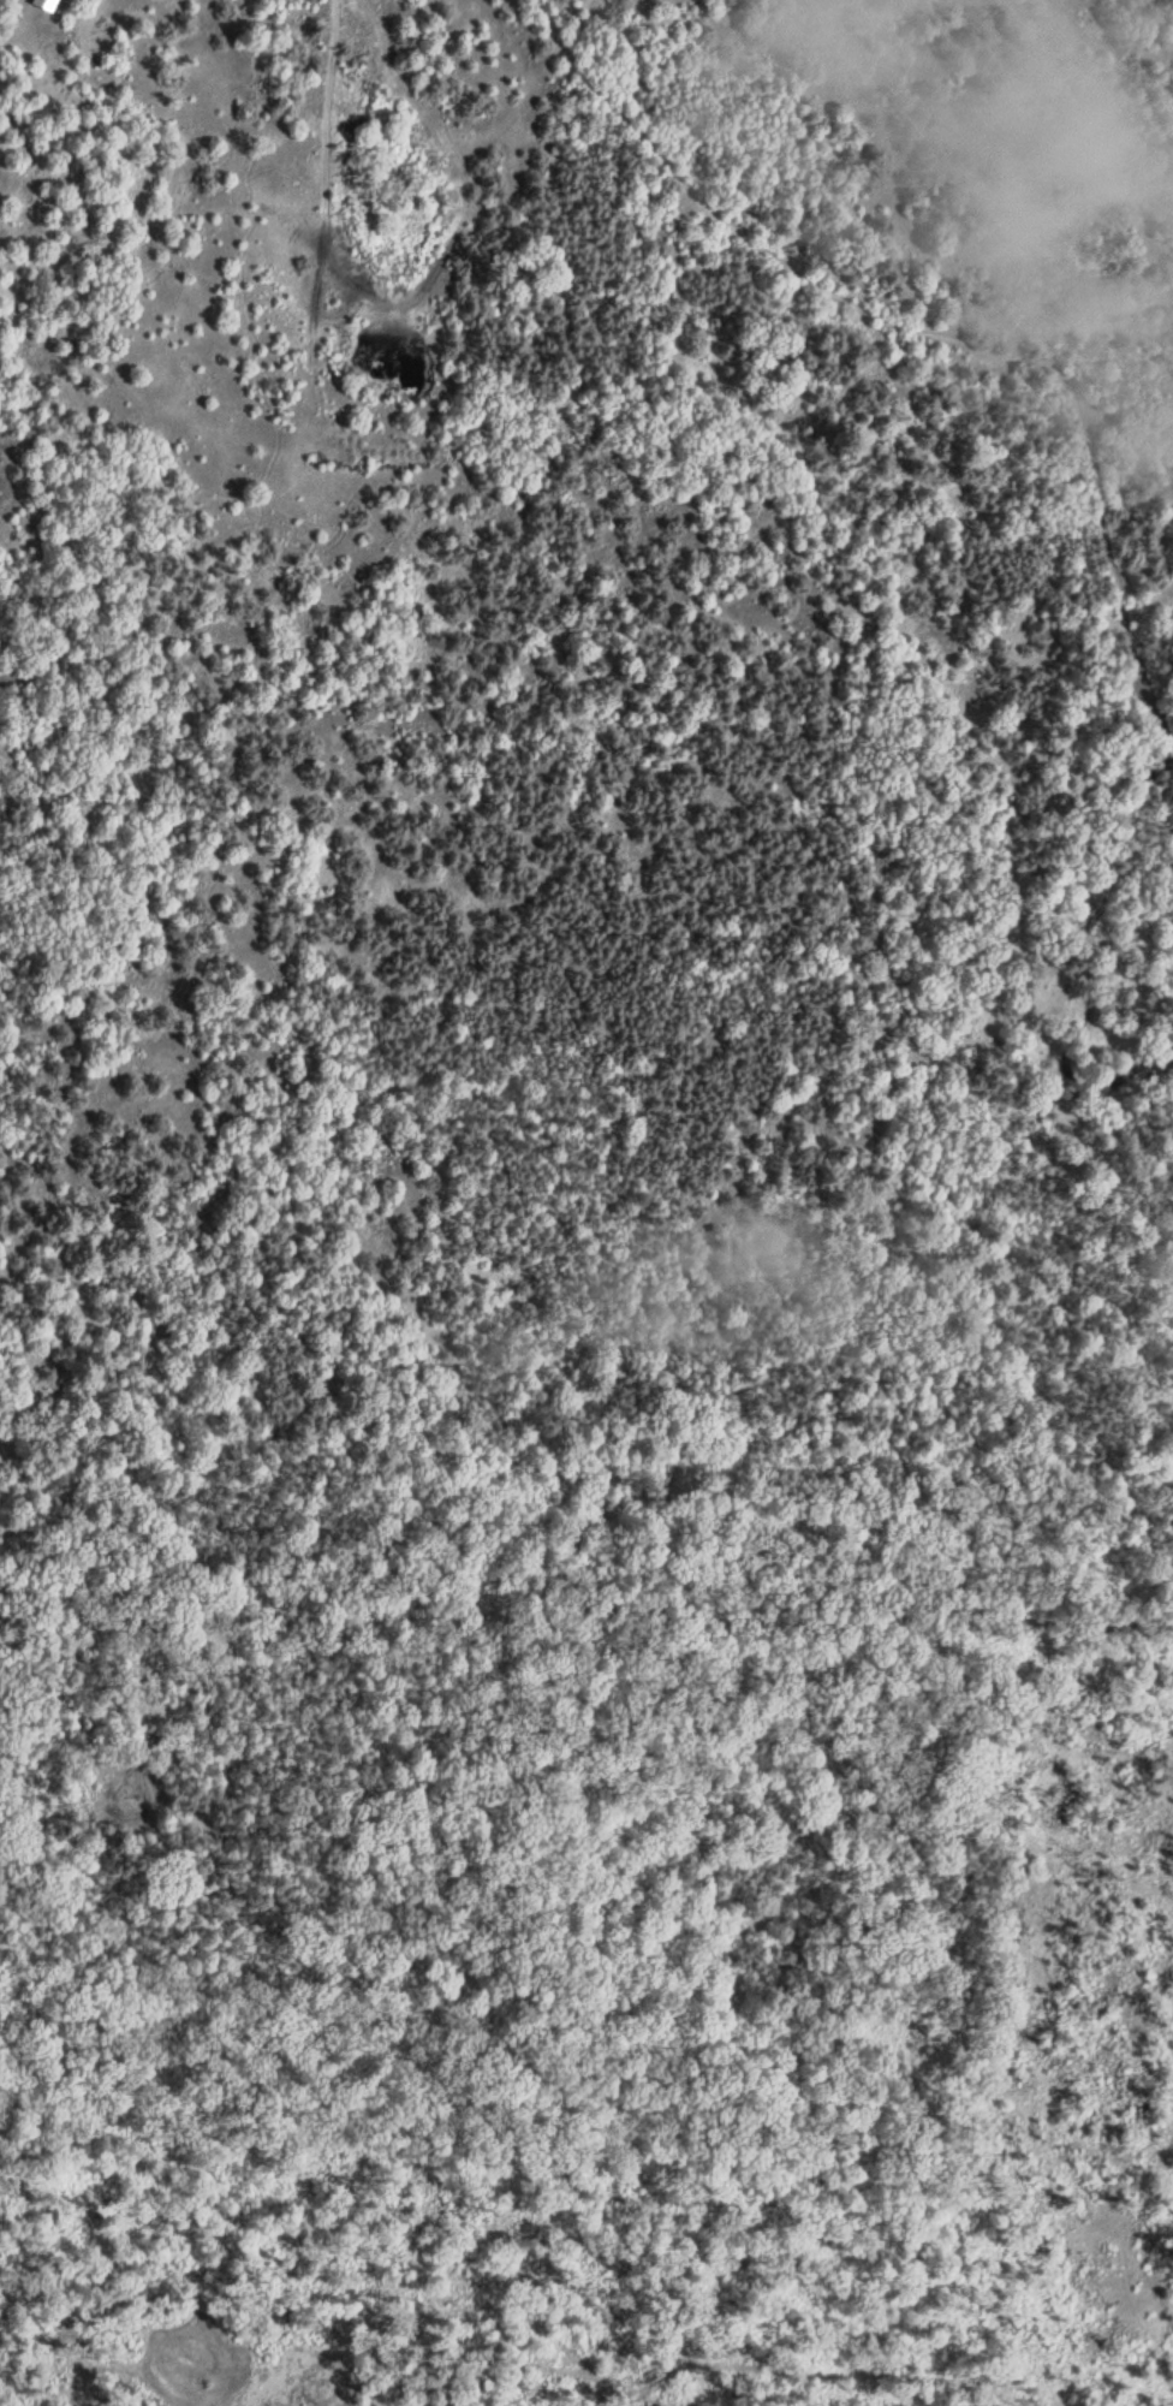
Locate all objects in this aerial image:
road: (329, 113)
road: (918, 333)
road: (1126, 421)
road: (585, 1594)

